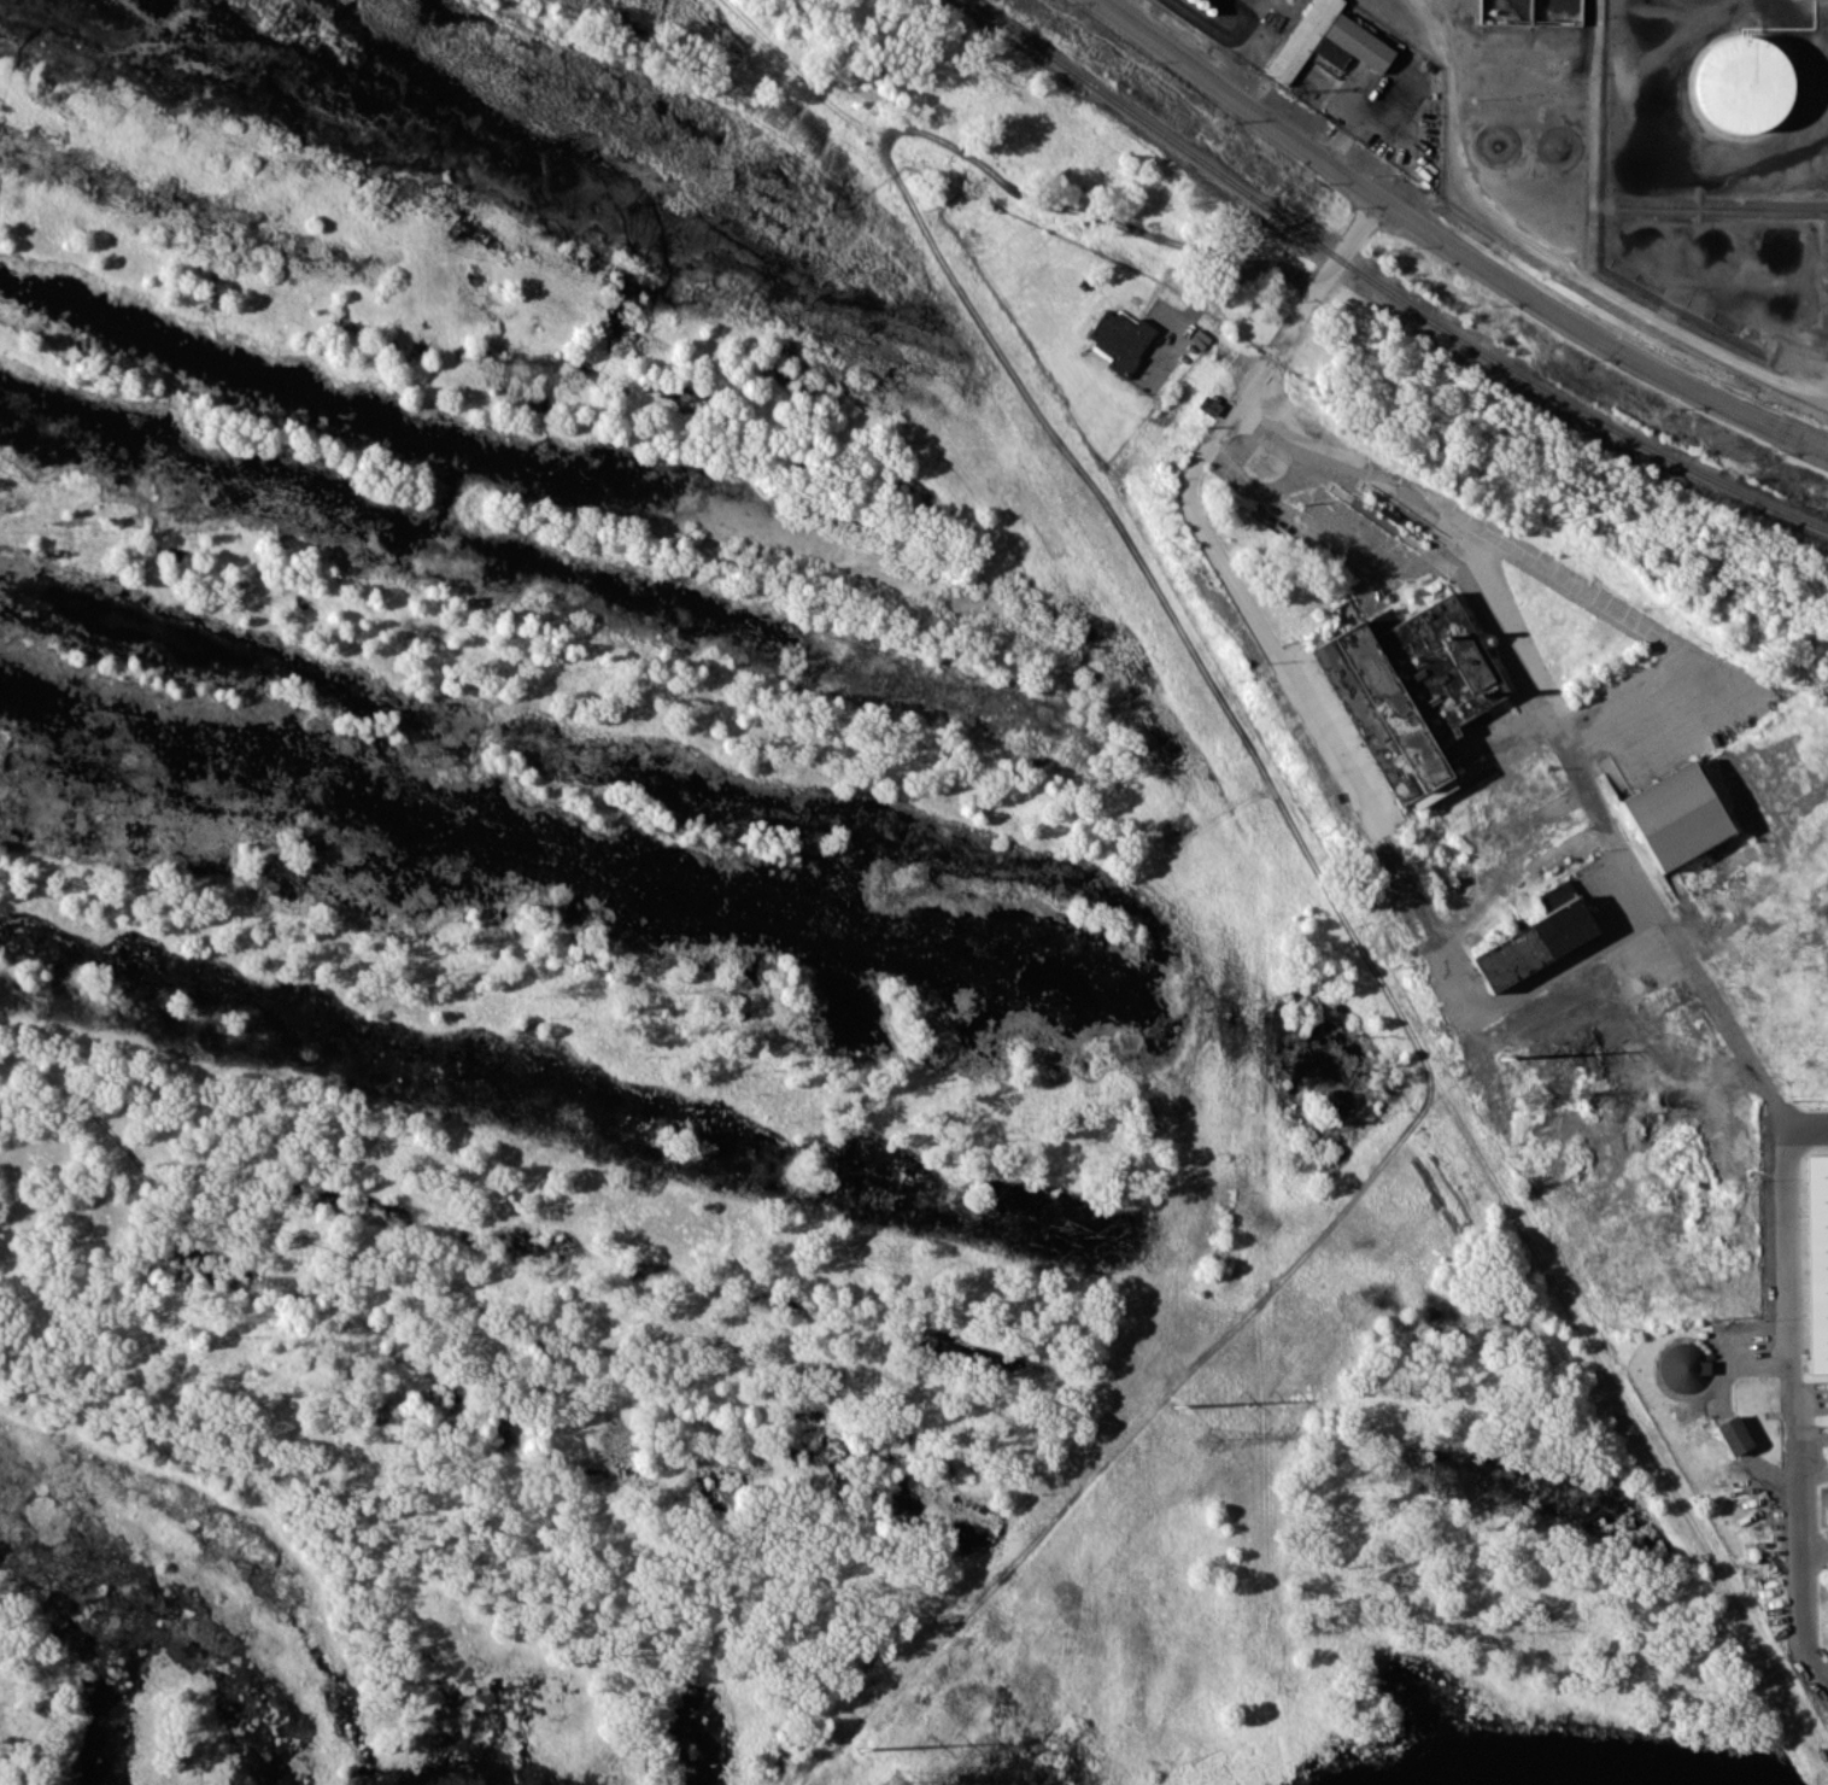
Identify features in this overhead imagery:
building: (1328, 41)
building: (1741, 83)
road: (1530, 240)
road: (1448, 245)
road: (1236, 271)
railway: (1384, 288)
building: (1119, 336)
building: (1208, 405)
road: (1376, 476)
road: (1189, 508)
building: (1407, 686)
building: (1675, 814)
road: (1625, 855)
building: (1533, 944)
road: (1545, 981)
power tower: (1500, 1053)
building: (1817, 1260)
building: (1683, 1366)
road: (1795, 1389)
power tower: (1176, 1404)
building: (1733, 1434)
power tower: (861, 1745)

